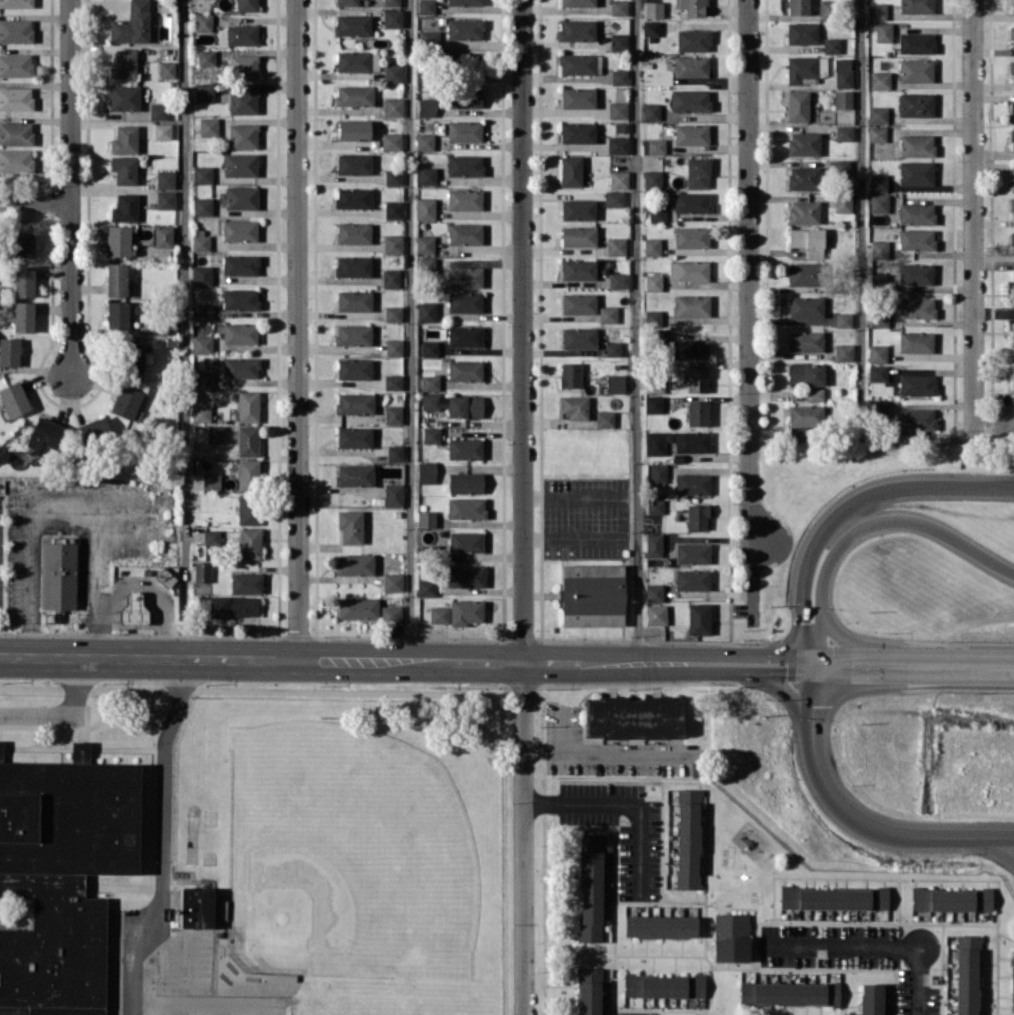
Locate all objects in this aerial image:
building: (346, 2)
building: (391, 2)
building: (464, 2)
building: (577, 2)
building: (15, 3)
building: (246, 5)
building: (425, 6)
building: (916, 6)
building: (1012, 6)
building: (618, 7)
building: (693, 7)
building: (797, 7)
building: (653, 9)
building: (876, 11)
building: (392, 18)
building: (203, 22)
building: (131, 24)
building: (352, 24)
building: (464, 28)
building: (650, 28)
building: (577, 29)
building: (15, 30)
building: (883, 32)
building: (802, 33)
building: (241, 34)
building: (1011, 37)
building: (693, 40)
building: (618, 41)
building: (915, 42)
building: (831, 45)
building: (206, 57)
building: (356, 61)
building: (577, 63)
building: (123, 64)
building: (16, 65)
building: (243, 66)
building: (690, 66)
building: (804, 67)
building: (166, 69)
building: (915, 70)
building: (1011, 71)
building: (392, 72)
building: (843, 72)
building: (619, 76)
building: (880, 80)
building: (204, 91)
building: (353, 95)
building: (123, 97)
building: (464, 97)
building: (578, 97)
building: (16, 98)
building: (842, 98)
road: (70, 100)
building: (690, 100)
building: (243, 101)
building: (915, 104)
building: (393, 106)
building: (797, 106)
building: (426, 107)
building: (618, 110)
building: (158, 111)
building: (651, 111)
building: (1012, 111)
building: (877, 114)
building: (208, 126)
building: (621, 128)
building: (353, 129)
building: (464, 130)
building: (162, 131)
building: (578, 132)
building: (844, 132)
building: (16, 133)
building: (876, 133)
building: (691, 134)
building: (243, 135)
building: (1011, 136)
building: (124, 139)
building: (391, 141)
building: (425, 141)
building: (803, 143)
building: (618, 144)
building: (916, 145)
building: (653, 146)
building: (16, 160)
building: (354, 163)
building: (240, 164)
building: (465, 165)
building: (841, 167)
building: (124, 169)
building: (571, 170)
building: (697, 172)
building: (916, 172)
building: (202, 174)
building: (426, 175)
building: (393, 177)
building: (802, 177)
building: (165, 178)
building: (619, 179)
building: (652, 179)
building: (1012, 180)
building: (878, 182)
building: (241, 197)
building: (353, 197)
building: (614, 198)
building: (165, 199)
building: (464, 199)
road: (35, 200)
building: (691, 202)
building: (843, 202)
building: (878, 203)
building: (202, 206)
building: (124, 208)
building: (425, 208)
building: (1012, 208)
building: (393, 209)
building: (578, 209)
building: (803, 212)
building: (656, 213)
building: (916, 213)
road: (862, 219)
road: (975, 219)
building: (239, 230)
building: (353, 232)
building: (464, 233)
building: (578, 235)
building: (162, 236)
building: (691, 236)
building: (916, 239)
building: (117, 240)
building: (807, 240)
building: (200, 242)
building: (1012, 242)
building: (393, 243)
building: (21, 244)
building: (424, 244)
building: (615, 246)
building: (652, 246)
building: (879, 249)
building: (240, 264)
building: (426, 265)
building: (353, 266)
building: (578, 268)
building: (688, 270)
building: (802, 273)
building: (915, 273)
building: (202, 275)
building: (464, 276)
building: (391, 277)
building: (116, 279)
building: (618, 280)
building: (24, 281)
building: (653, 282)
road: (71, 288)
building: (1012, 294)
building: (240, 298)
building: (354, 300)
building: (464, 301)
building: (578, 303)
building: (691, 305)
building: (806, 306)
building: (916, 307)
building: (204, 311)
building: (426, 311)
building: (393, 313)
building: (607, 314)
building: (117, 315)
road: (749, 315)
building: (23, 316)
building: (652, 317)
building: (843, 319)
building: (878, 319)
road: (184, 328)
road: (297, 329)
road: (411, 330)
road: (639, 330)
building: (240, 332)
building: (1012, 332)
building: (352, 334)
building: (465, 336)
building: (578, 337)
building: (659, 337)
building: (805, 340)
building: (915, 341)
building: (202, 344)
building: (393, 347)
building: (429, 348)
building: (612, 348)
building: (689, 349)
building: (9, 351)
building: (844, 352)
building: (877, 353)
building: (132, 356)
building: (240, 367)
building: (354, 368)
building: (464, 370)
building: (806, 373)
building: (877, 373)
building: (570, 375)
building: (1012, 376)
building: (203, 378)
building: (696, 379)
building: (393, 382)
building: (430, 382)
building: (614, 383)
building: (655, 383)
building: (916, 384)
building: (814, 394)
building: (13, 399)
building: (125, 401)
building: (432, 401)
building: (354, 403)
building: (653, 404)
building: (247, 406)
building: (465, 406)
building: (574, 406)
building: (878, 408)
building: (697, 412)
building: (201, 413)
building: (393, 414)
building: (805, 415)
building: (917, 418)
building: (604, 419)
building: (215, 434)
building: (431, 435)
building: (45, 436)
building: (354, 437)
building: (247, 440)
building: (689, 440)
road: (941, 440)
building: (654, 442)
building: (465, 448)
building: (394, 452)
building: (426, 472)
building: (657, 473)
building: (248, 474)
building: (354, 474)
building: (211, 481)
building: (465, 482)
building: (692, 483)
building: (393, 494)
road: (62, 497)
road: (852, 504)
building: (654, 505)
road: (523, 507)
building: (466, 508)
building: (248, 509)
building: (697, 516)
building: (426, 519)
road: (874, 523)
building: (350, 525)
building: (212, 536)
building: (465, 541)
building: (653, 541)
building: (250, 543)
building: (691, 553)
building: (354, 563)
building: (202, 571)
road: (27, 575)
building: (60, 575)
building: (466, 575)
road: (94, 576)
building: (692, 579)
building: (393, 581)
building: (246, 582)
building: (426, 587)
road: (150, 588)
building: (653, 592)
building: (592, 594)
building: (233, 606)
building: (132, 608)
building: (357, 608)
building: (465, 611)
building: (391, 614)
building: (439, 614)
building: (655, 614)
building: (699, 618)
traffic signals: (801, 622)
road: (842, 637)
traffic signals: (832, 650)
road: (907, 651)
road: (774, 654)
road: (373, 659)
road: (806, 662)
road: (815, 662)
traffic signals: (786, 672)
road: (880, 676)
road: (779, 686)
traffic signals: (811, 705)
road: (65, 713)
building: (634, 717)
road: (565, 727)
road: (605, 750)
road: (629, 802)
road: (855, 820)
road: (160, 838)
building: (688, 838)
road: (999, 846)
building: (60, 878)
building: (590, 887)
building: (833, 897)
building: (951, 899)
building: (196, 907)
building: (660, 926)
building: (730, 937)
road: (873, 945)
building: (966, 974)
building: (663, 985)
building: (1012, 985)
building: (588, 991)
building: (789, 993)
building: (870, 999)
road: (638, 1013)

